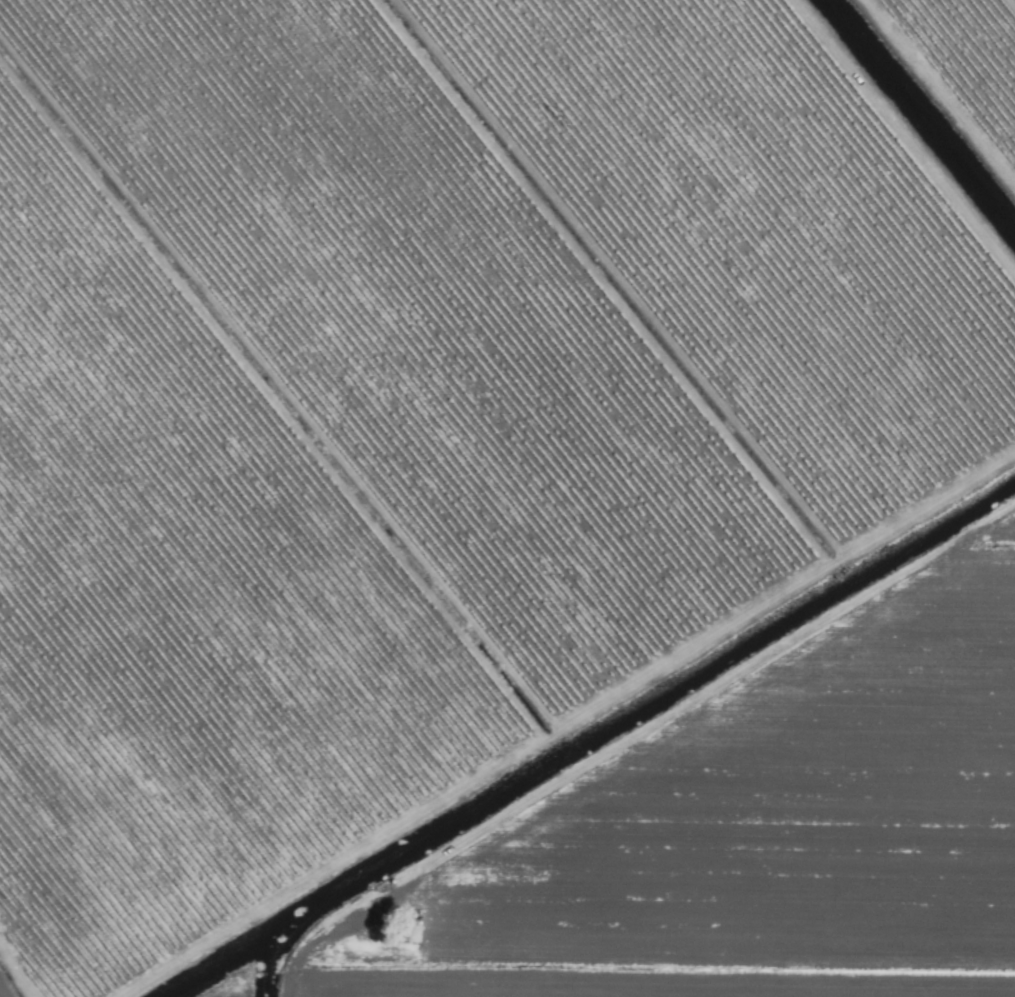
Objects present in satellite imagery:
crop: (507, 498)

